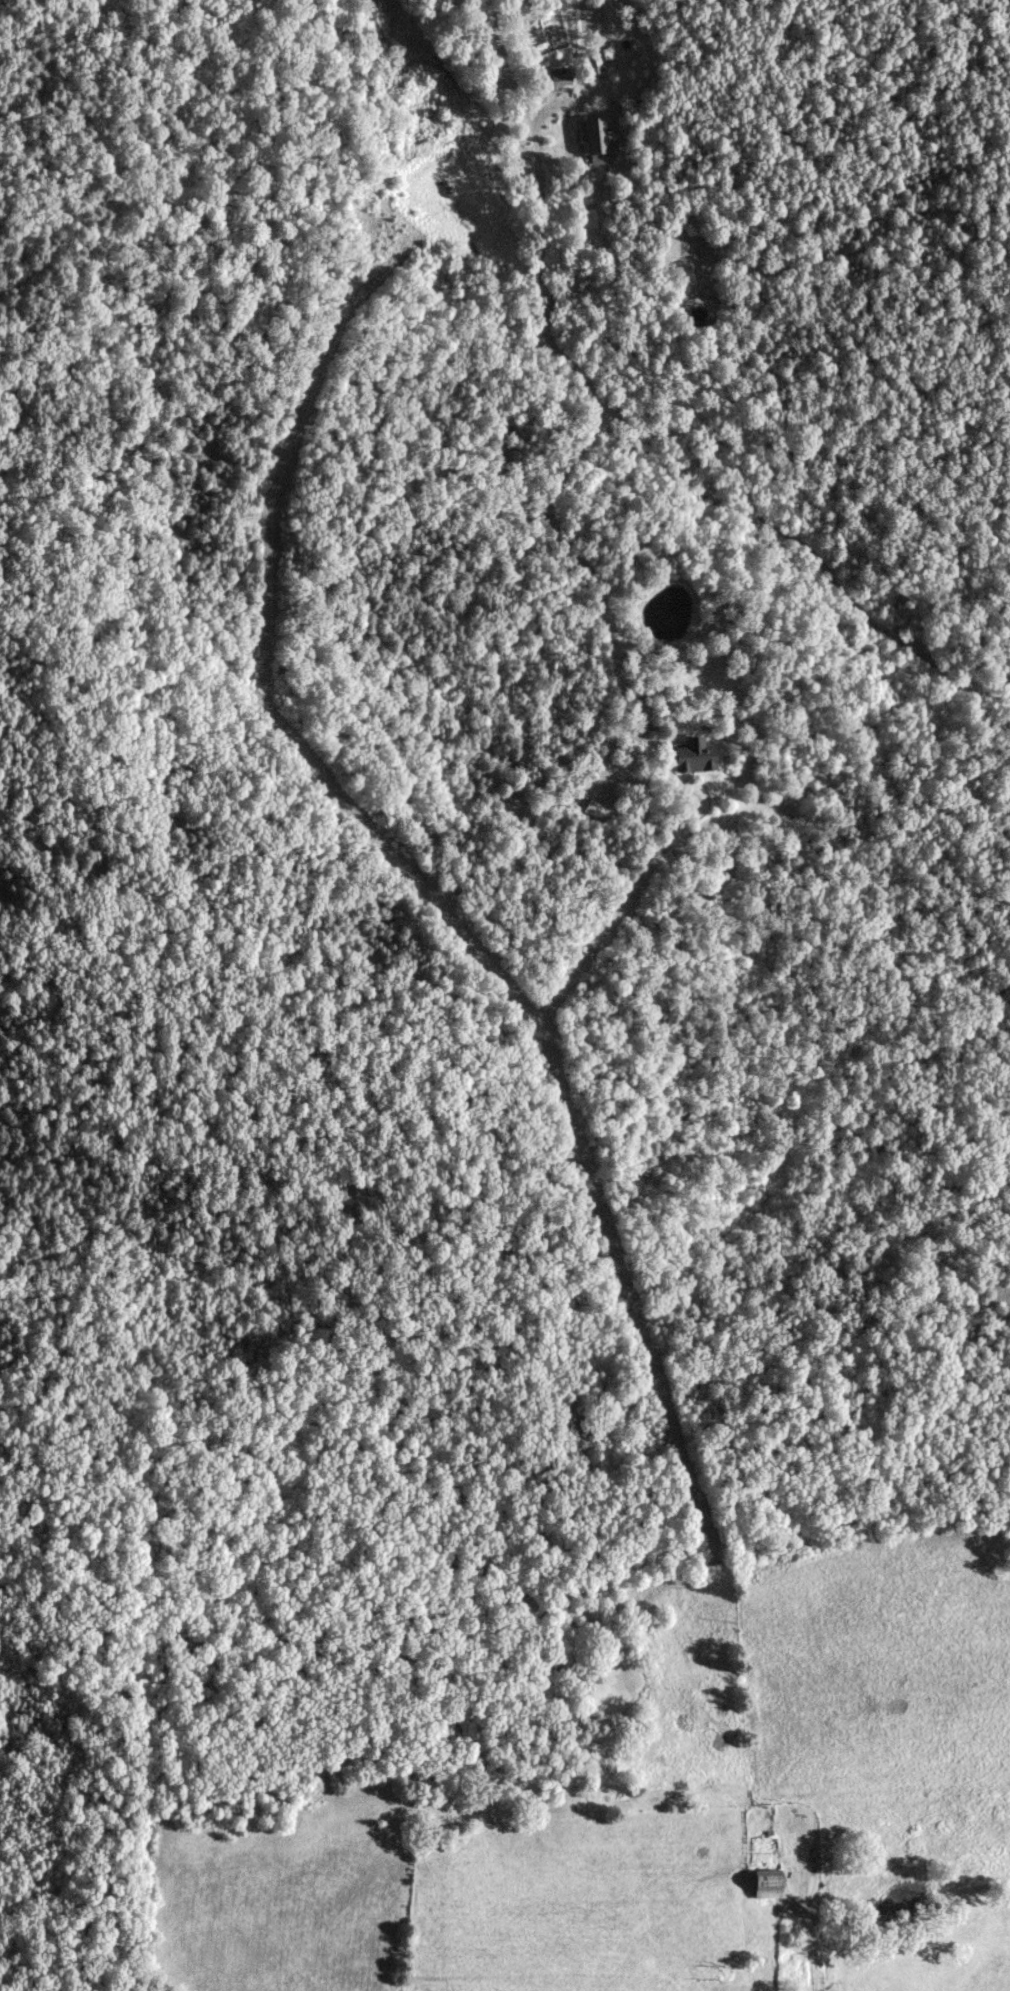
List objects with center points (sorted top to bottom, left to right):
building: (592, 139)
road: (537, 171)
road: (780, 534)
building: (690, 755)
building: (594, 808)
building: (761, 1883)

